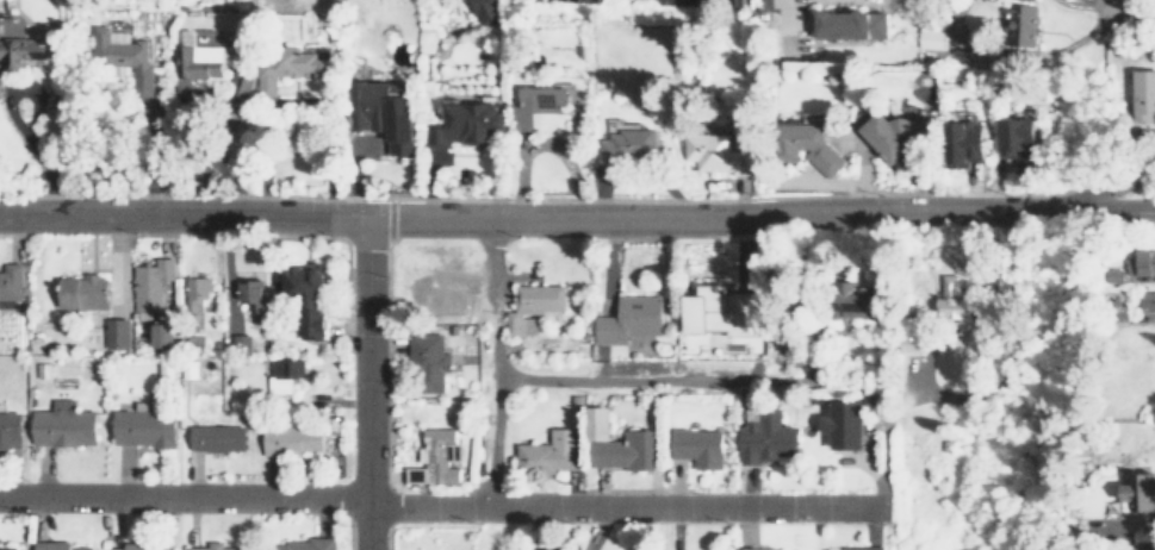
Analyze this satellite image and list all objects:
parking lot: (563, 1)
parking lot: (698, 2)
road: (1129, 10)
building: (480, 11)
building: (851, 25)
building: (1023, 25)
building: (929, 35)
building: (21, 52)
building: (120, 52)
building: (192, 58)
building: (281, 69)
building: (1143, 94)
building: (535, 104)
building: (464, 121)
building: (397, 125)
building: (899, 133)
building: (961, 136)
building: (1017, 138)
building: (802, 140)
building: (628, 143)
building: (715, 152)
building: (280, 167)
road: (1109, 188)
park: (1141, 190)
road: (577, 214)
building: (1147, 261)
building: (7, 281)
building: (145, 285)
building: (439, 288)
building: (77, 292)
building: (192, 294)
building: (246, 295)
building: (304, 298)
building: (954, 298)
building: (858, 300)
building: (1147, 300)
building: (533, 304)
building: (625, 319)
building: (713, 320)
building: (116, 332)
building: (909, 335)
building: (156, 336)
building: (241, 343)
road: (492, 356)
building: (423, 362)
building: (275, 368)
road: (669, 379)
road: (366, 383)
building: (840, 423)
building: (58, 425)
building: (139, 427)
building: (8, 430)
building: (213, 437)
building: (288, 437)
building: (762, 438)
building: (611, 443)
building: (695, 445)
building: (547, 452)
building: (436, 456)
building: (1140, 489)
road: (436, 498)
building: (294, 544)
building: (60, 545)
building: (135, 545)
building: (6, 546)
building: (211, 546)
building: (759, 548)
building: (853, 548)
building: (1143, 548)
building: (540, 549)

